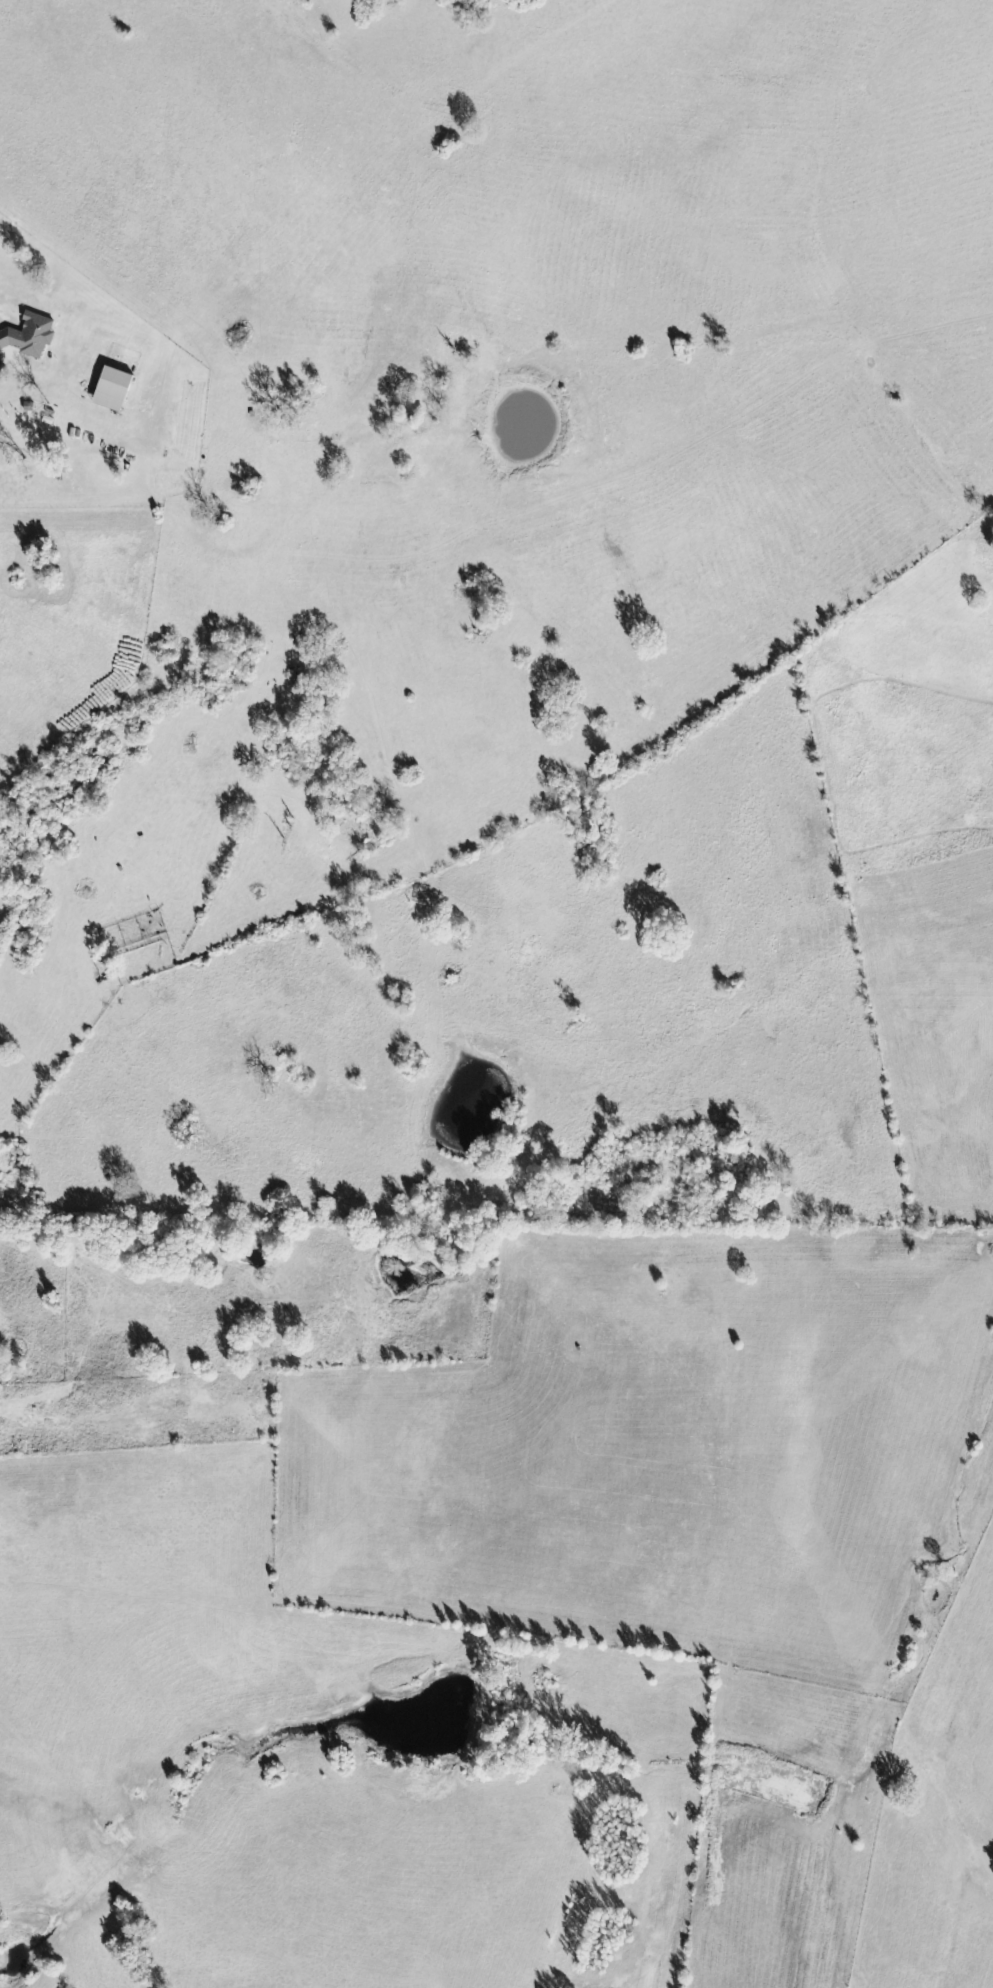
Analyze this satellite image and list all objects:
building: (32, 336)
building: (118, 390)

